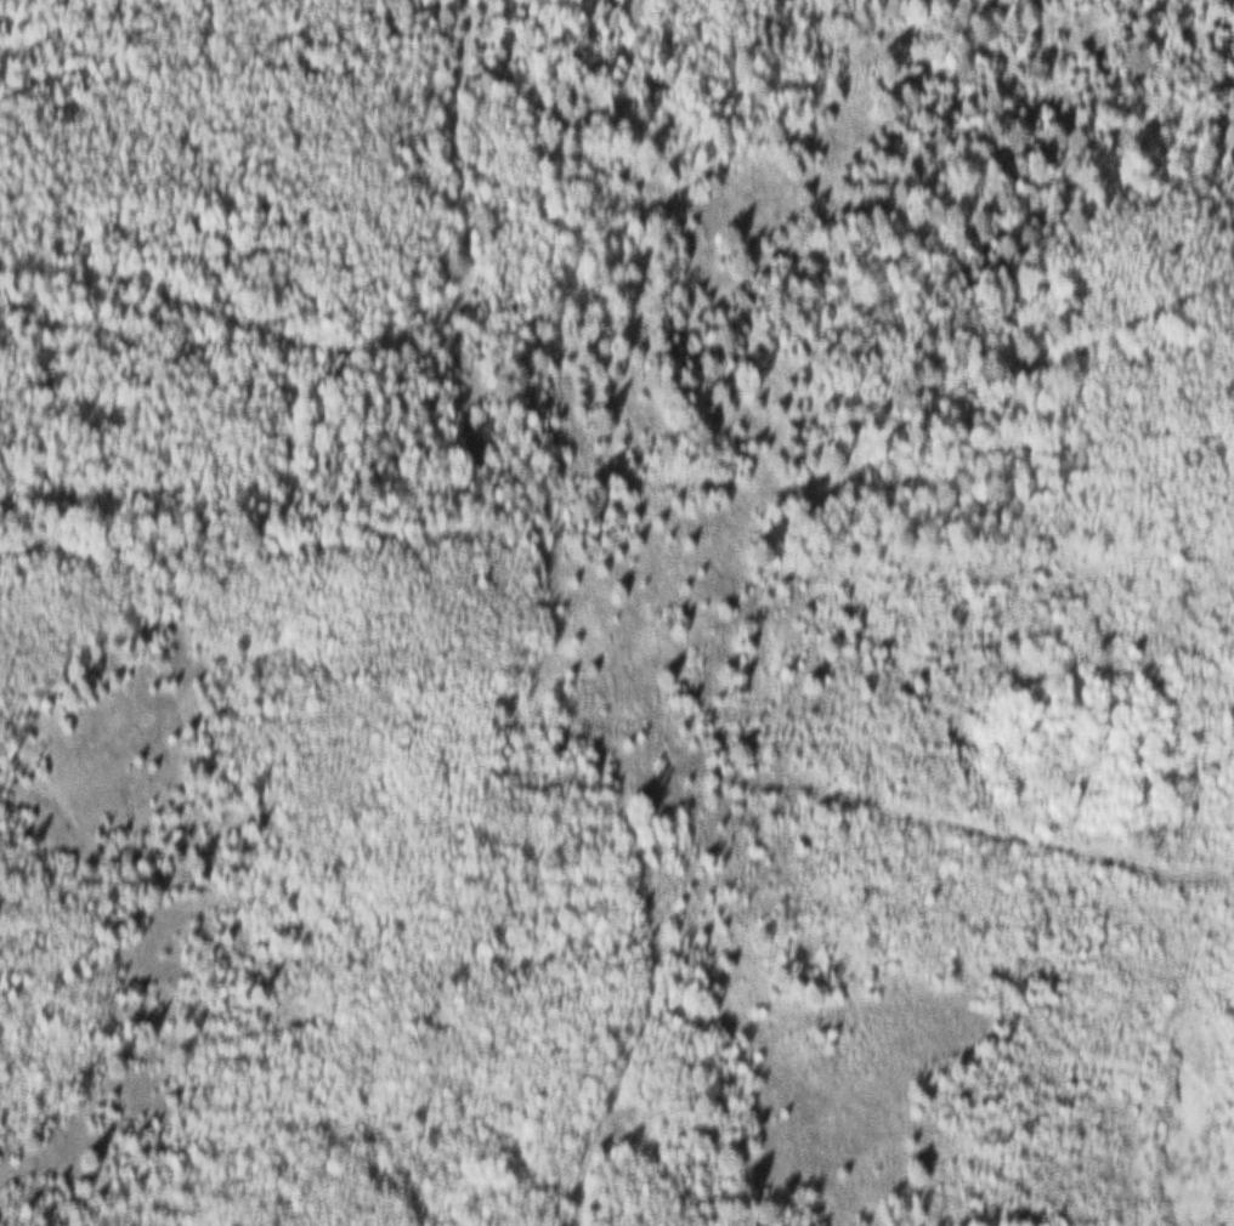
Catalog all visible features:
quarry: (1223, 1180)

